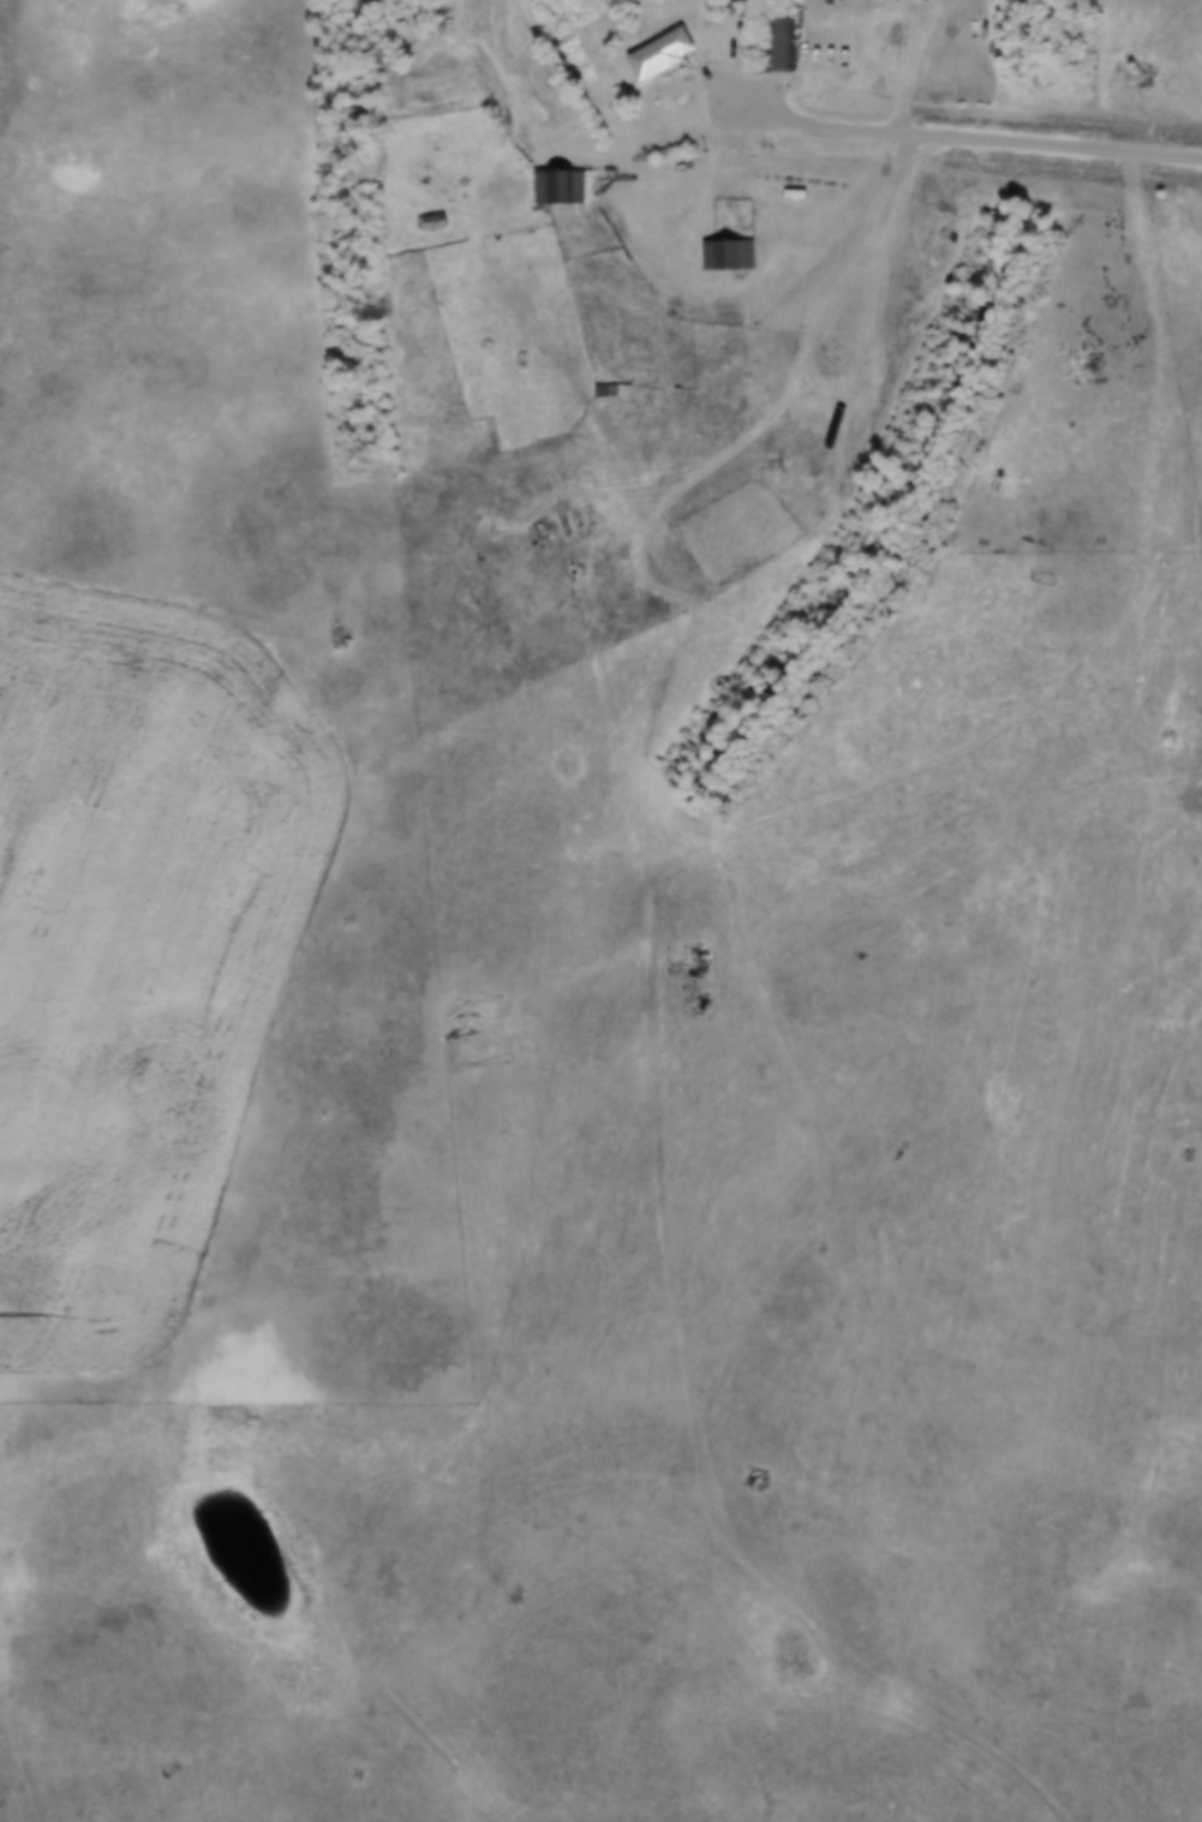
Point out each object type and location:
building: (802, 0)
building: (778, 40)
building: (660, 53)
road: (953, 137)
building: (558, 187)
building: (432, 223)
building: (729, 255)
building: (605, 393)

